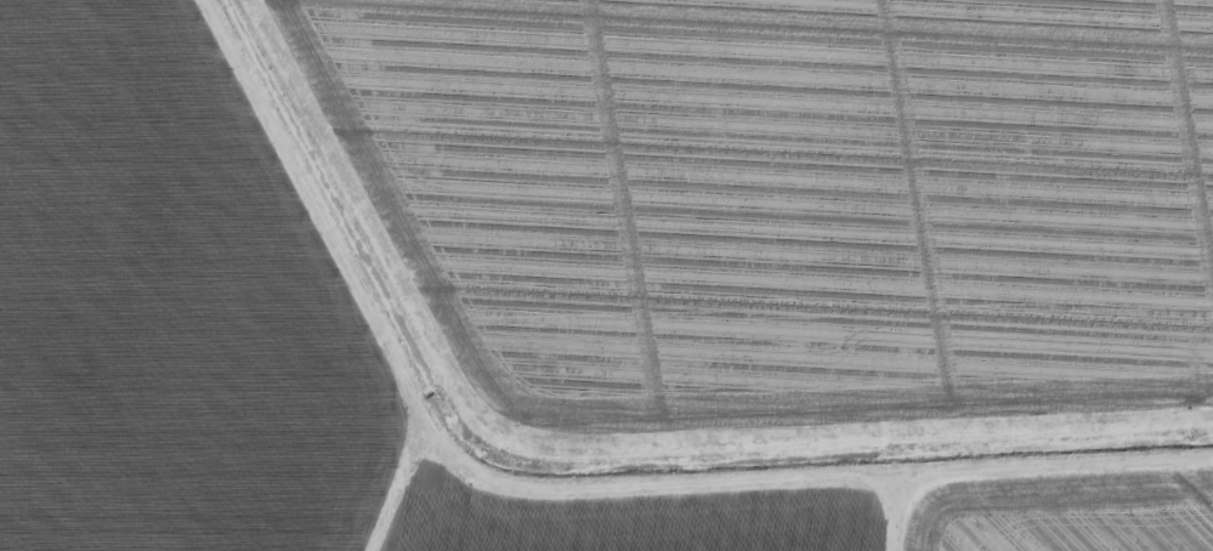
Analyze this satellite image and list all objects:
road: (408, 490)
road: (567, 493)
road: (905, 513)

